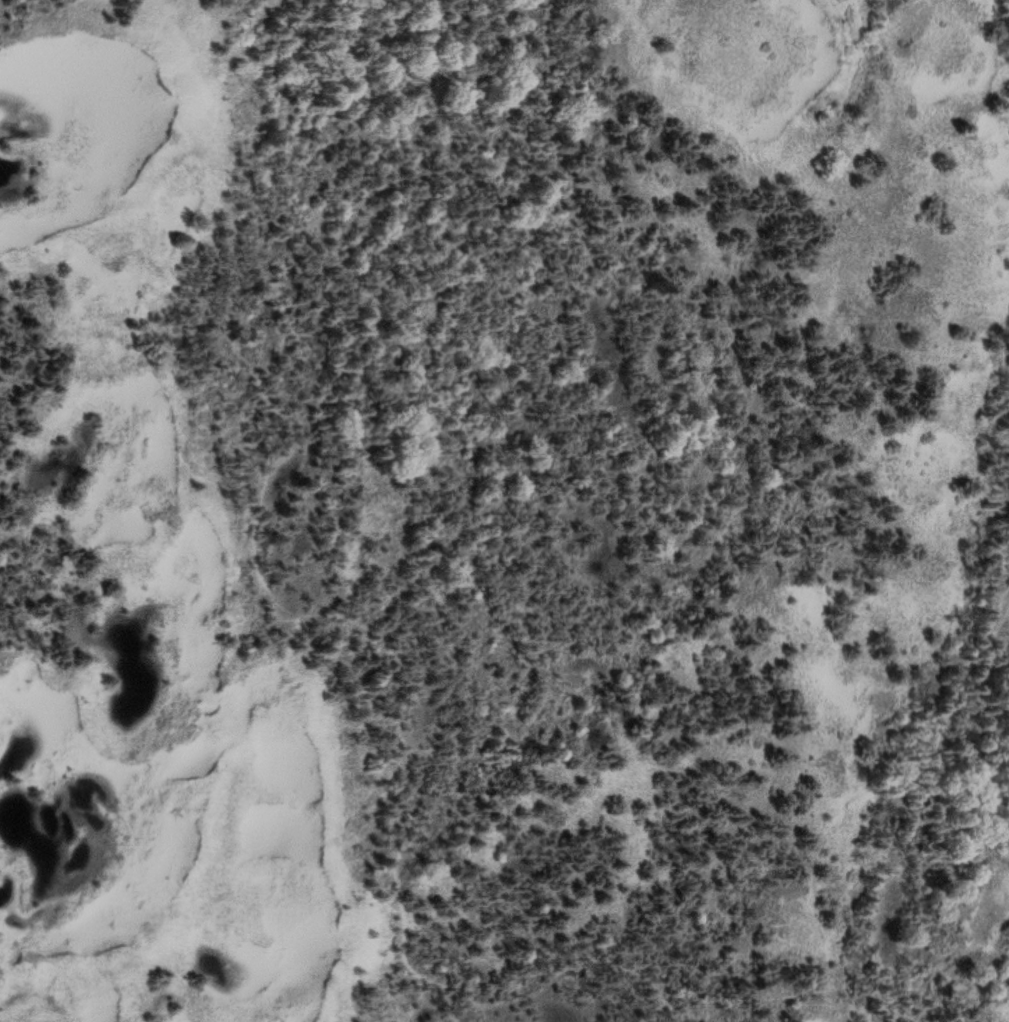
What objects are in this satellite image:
road: (312, 26)
road: (380, 43)
park: (504, 511)
road: (355, 616)
road: (934, 728)

